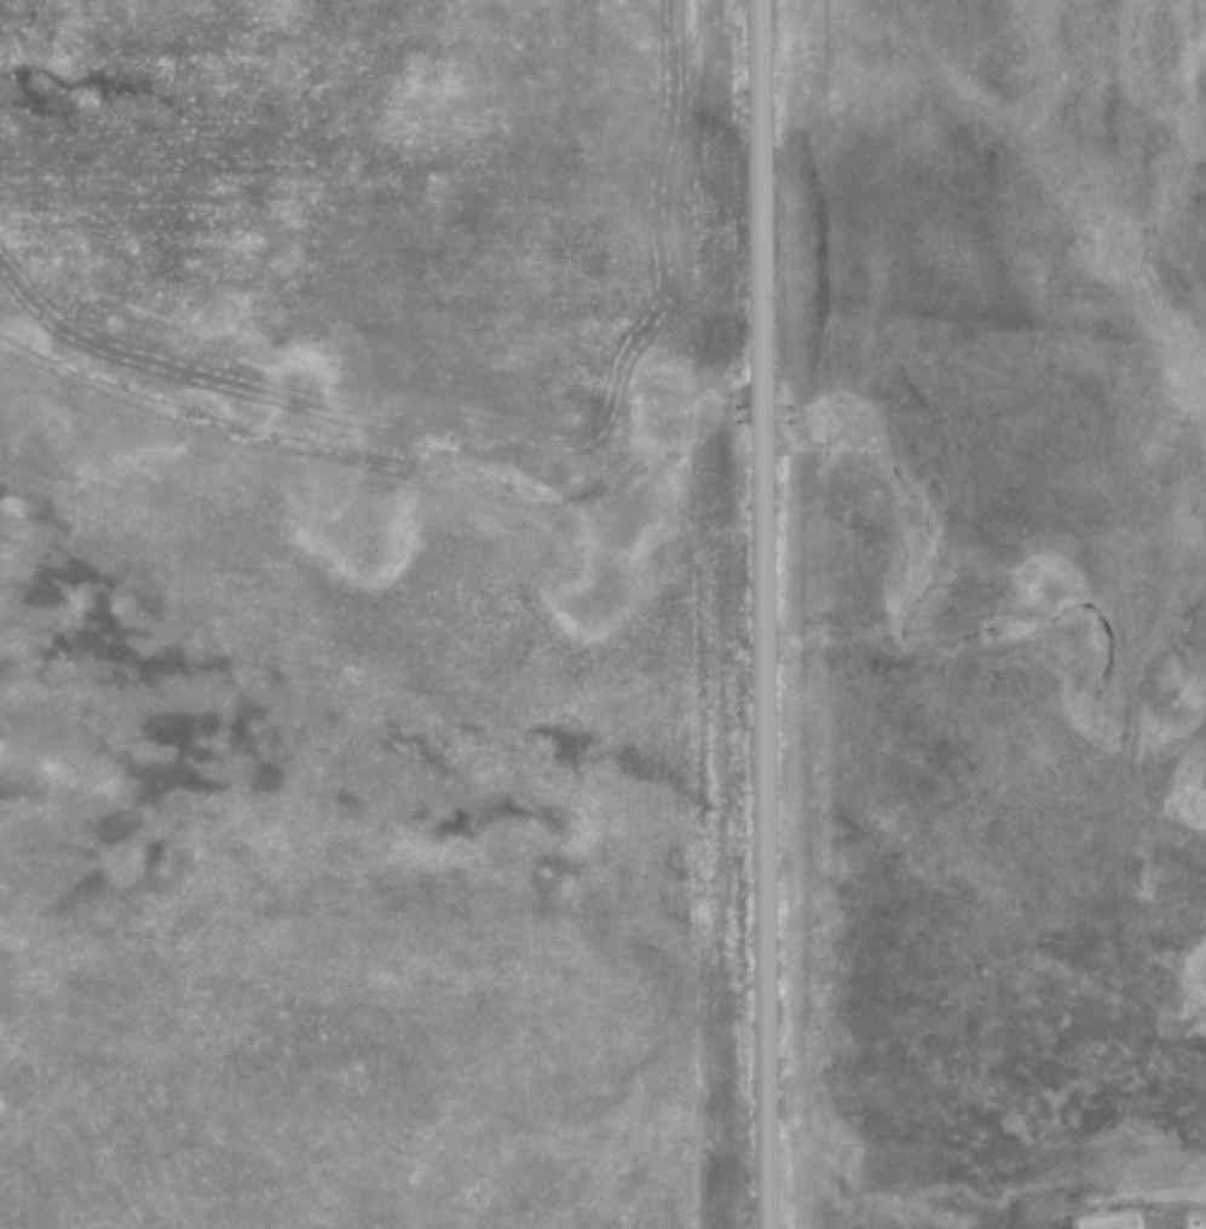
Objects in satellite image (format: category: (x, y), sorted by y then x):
road: (764, 614)

